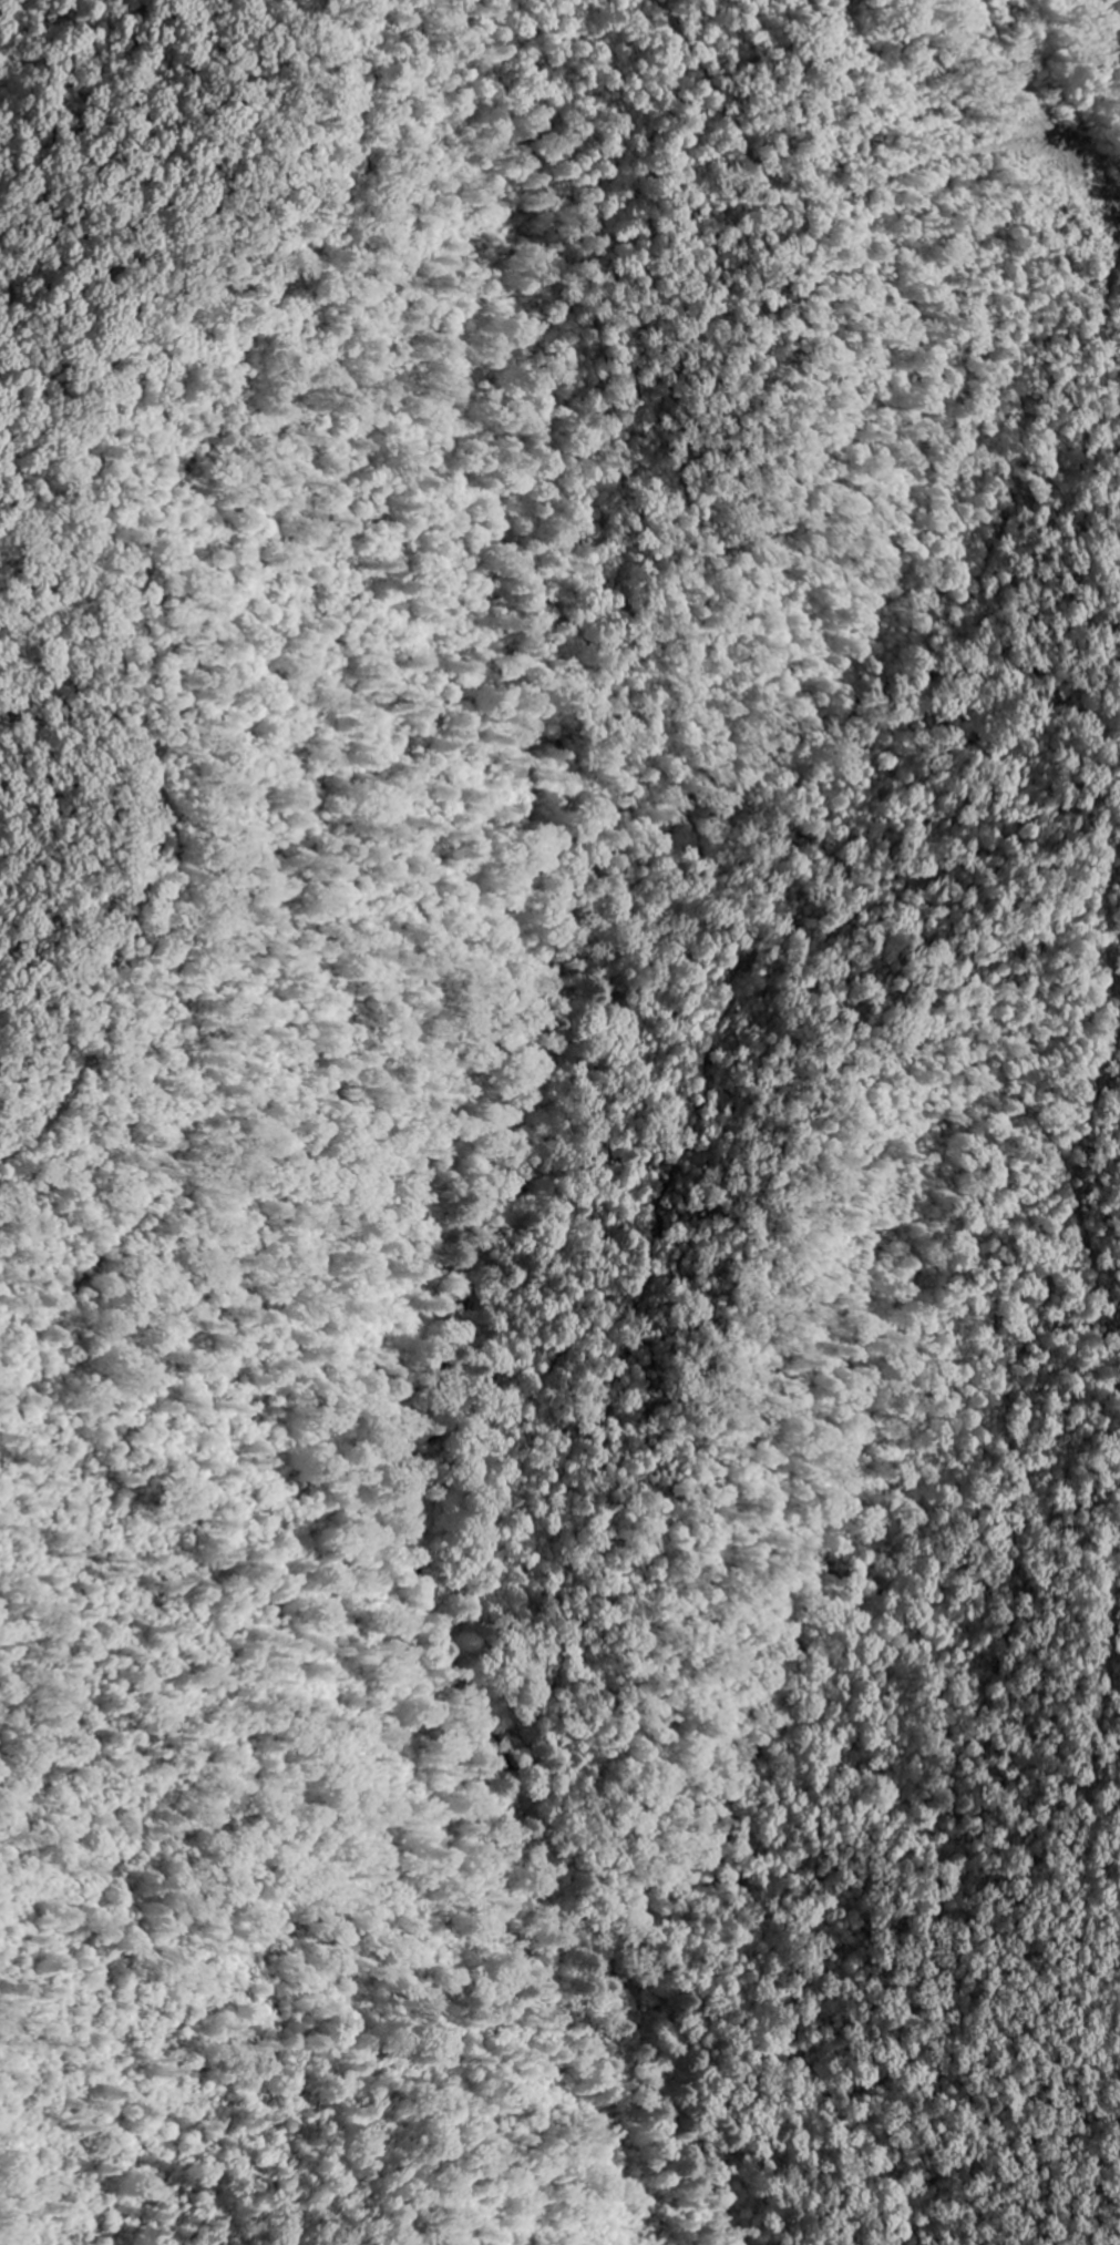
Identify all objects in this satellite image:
road: (886, 175)
road: (151, 584)

